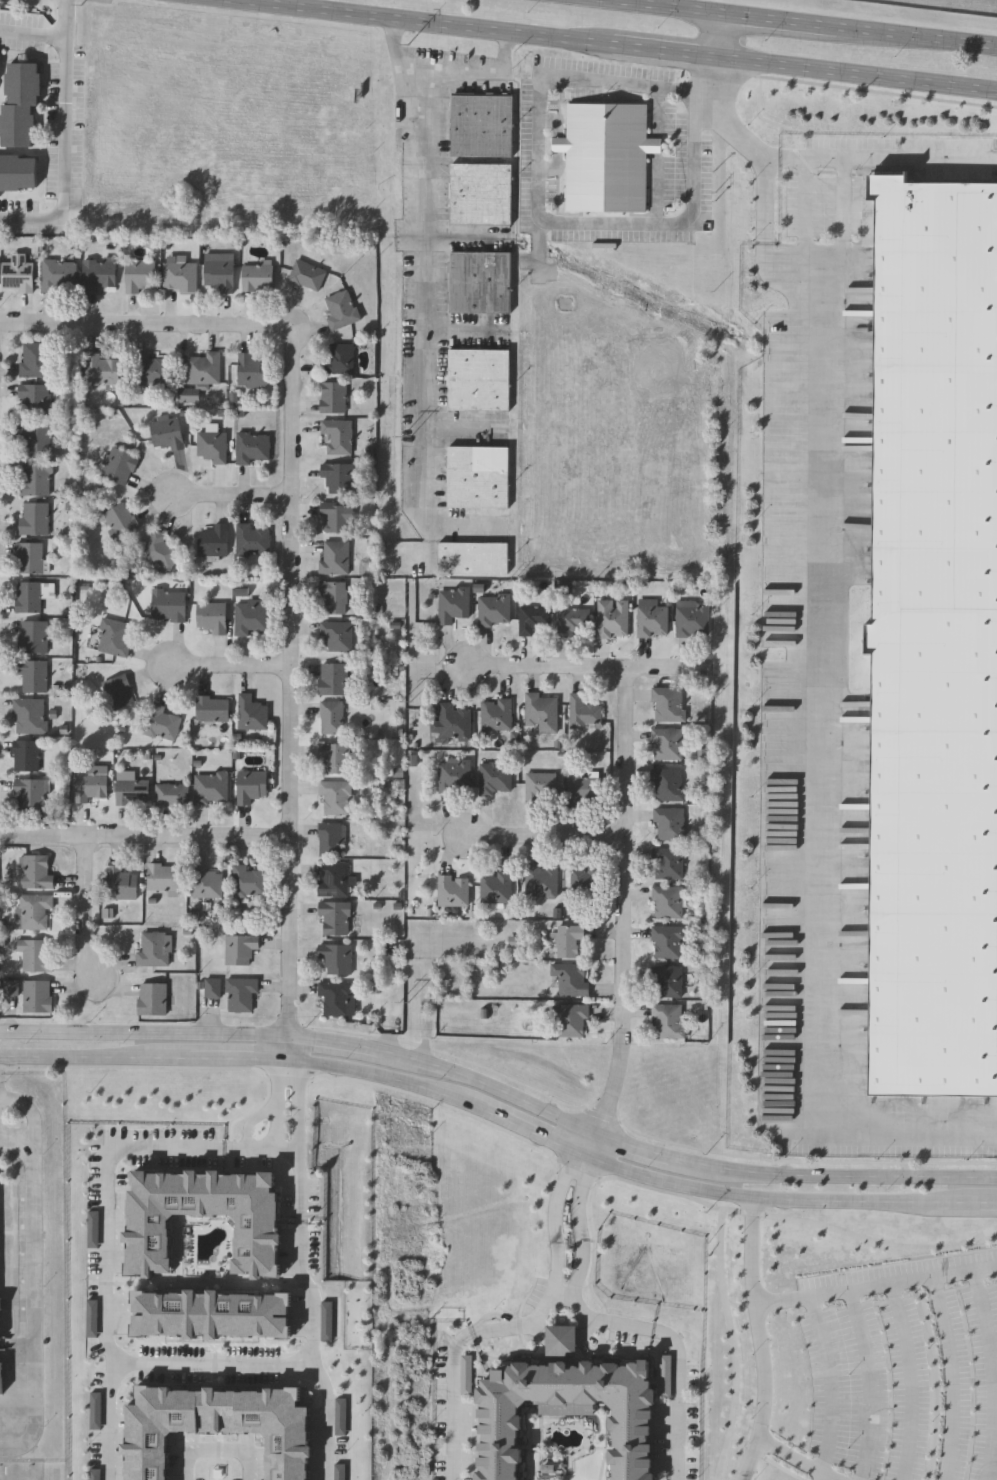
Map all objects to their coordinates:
road: (789, 25)
road: (32, 34)
road: (714, 37)
road: (625, 46)
road: (474, 72)
building: (22, 102)
road: (656, 110)
building: (482, 125)
road: (64, 140)
road: (655, 145)
building: (606, 156)
road: (880, 161)
building: (19, 172)
road: (656, 187)
building: (481, 193)
road: (538, 208)
road: (805, 217)
road: (843, 220)
building: (218, 271)
building: (98, 273)
building: (138, 274)
building: (60, 275)
building: (306, 275)
building: (19, 276)
building: (179, 276)
building: (257, 276)
building: (480, 281)
road: (419, 306)
building: (341, 310)
road: (42, 321)
road: (187, 321)
road: (0, 335)
building: (338, 358)
building: (36, 359)
building: (203, 367)
building: (251, 368)
building: (101, 370)
building: (150, 371)
building: (479, 379)
building: (333, 397)
building: (35, 400)
building: (165, 431)
building: (337, 435)
building: (35, 438)
building: (211, 445)
building: (252, 446)
building: (117, 465)
building: (338, 476)
building: (477, 476)
building: (37, 478)
road: (237, 493)
building: (336, 517)
building: (35, 518)
building: (119, 520)
building: (214, 539)
building: (251, 539)
building: (158, 551)
building: (472, 556)
building: (29, 557)
building: (334, 558)
building: (334, 595)
building: (30, 597)
building: (168, 604)
building: (452, 604)
building: (493, 609)
building: (251, 616)
building: (211, 617)
building: (692, 617)
building: (613, 618)
building: (651, 618)
building: (534, 620)
building: (573, 621)
road: (822, 634)
building: (35, 636)
building: (114, 636)
building: (336, 636)
building: (937, 643)
road: (236, 667)
road: (593, 667)
building: (34, 675)
building: (333, 678)
road: (297, 679)
building: (118, 691)
building: (668, 703)
building: (211, 708)
building: (251, 712)
building: (540, 712)
building: (583, 712)
building: (495, 714)
building: (32, 715)
building: (331, 717)
building: (161, 722)
building: (453, 722)
building: (667, 743)
building: (27, 755)
building: (335, 757)
building: (454, 776)
building: (494, 779)
building: (668, 783)
building: (90, 785)
building: (250, 785)
building: (210, 788)
building: (538, 788)
building: (584, 788)
building: (131, 791)
building: (171, 794)
building: (33, 795)
building: (335, 796)
building: (669, 822)
road: (36, 832)
road: (186, 833)
road: (550, 836)
building: (331, 839)
building: (668, 863)
building: (36, 872)
building: (163, 878)
building: (334, 878)
building: (205, 881)
building: (247, 881)
building: (540, 881)
building: (585, 882)
building: (120, 883)
building: (495, 887)
building: (452, 891)
road: (630, 902)
building: (668, 902)
road: (92, 908)
building: (34, 910)
building: (334, 916)
building: (568, 940)
building: (668, 941)
building: (240, 947)
building: (153, 948)
building: (36, 954)
building: (336, 957)
building: (572, 979)
building: (667, 981)
building: (239, 993)
building: (38, 996)
building: (336, 997)
building: (153, 999)
building: (570, 1020)
building: (668, 1021)
road: (43, 1031)
road: (188, 1033)
road: (348, 1046)
road: (289, 1050)
road: (43, 1057)
road: (139, 1059)
road: (240, 1060)
road: (388, 1077)
road: (504, 1092)
road: (280, 1103)
road: (298, 1103)
road: (536, 1132)
road: (594, 1144)
road: (297, 1148)
road: (655, 1155)
road: (855, 1179)
road: (780, 1200)
road: (988, 1205)
building: (203, 1214)
road: (556, 1227)
road: (583, 1234)
road: (298, 1242)
road: (106, 1261)
road: (877, 1285)
road: (34, 1293)
building: (212, 1313)
road: (567, 1313)
road: (761, 1340)
road: (225, 1354)
road: (120, 1359)
parking lot: (904, 1369)
building: (0, 1370)
road: (222, 1370)
road: (320, 1370)
road: (831, 1387)
building: (221, 1424)
building: (639, 1441)
road: (217, 1447)
road: (796, 1458)

